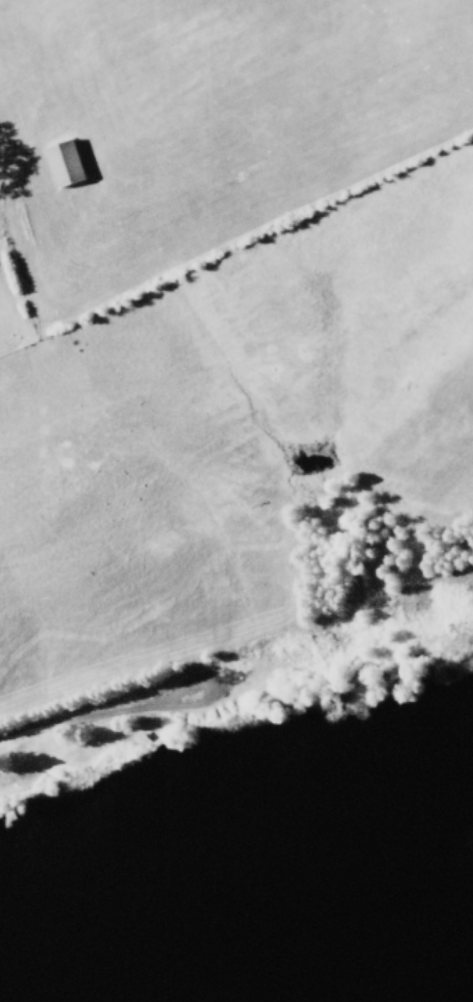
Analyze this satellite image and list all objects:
building: (63, 162)
road: (341, 621)
road: (104, 697)

